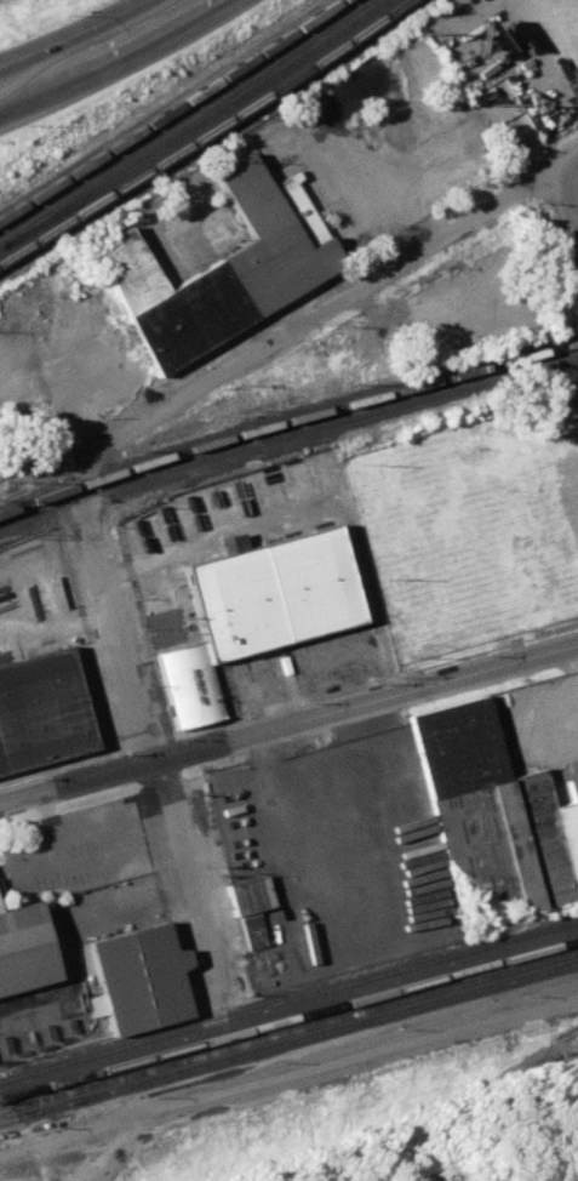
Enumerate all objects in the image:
road: (576, 4)
road: (69, 33)
road: (119, 61)
railway: (167, 109)
railway: (179, 118)
railway: (193, 126)
railway: (205, 132)
road: (390, 192)
railway: (87, 200)
building: (221, 266)
road: (321, 309)
railway: (286, 418)
railway: (286, 430)
road: (320, 501)
building: (253, 610)
road: (572, 666)
building: (39, 709)
road: (288, 724)
road: (155, 731)
building: (496, 810)
building: (250, 895)
building: (252, 929)
road: (70, 931)
building: (23, 947)
building: (142, 979)
railway: (288, 999)
railway: (288, 1019)
railway: (288, 1032)
railway: (290, 1044)
building: (573, 1179)

